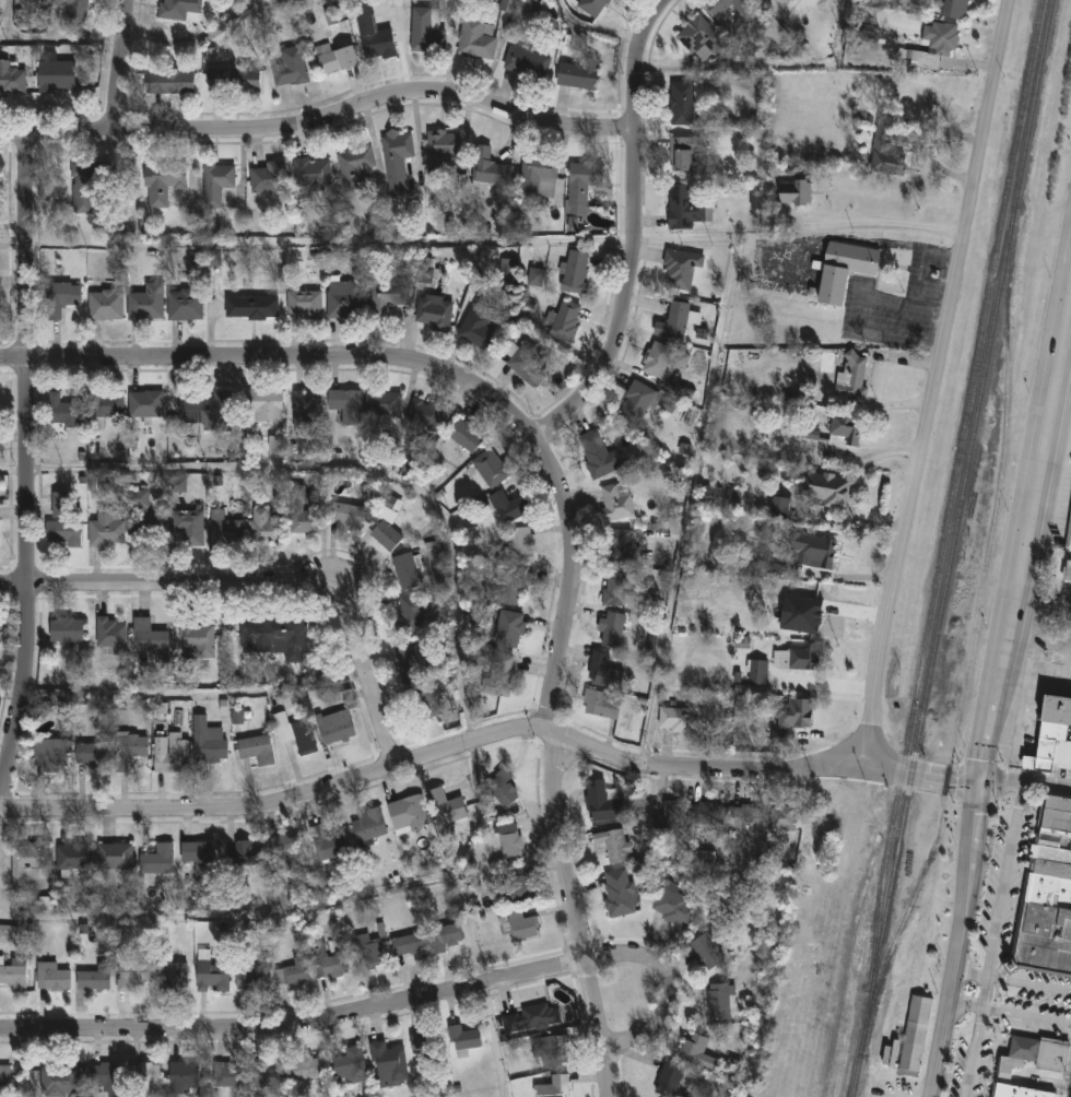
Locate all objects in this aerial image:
building: (929, 4)
building: (533, 5)
building: (590, 5)
building: (507, 7)
building: (72, 10)
building: (954, 10)
building: (179, 11)
building: (745, 13)
road: (8, 20)
building: (425, 32)
road: (204, 38)
road: (62, 39)
building: (373, 39)
building: (475, 39)
building: (698, 39)
building: (938, 44)
building: (333, 59)
building: (525, 61)
road: (121, 63)
building: (289, 67)
building: (54, 72)
building: (579, 73)
building: (232, 76)
building: (11, 78)
building: (166, 79)
building: (685, 103)
road: (321, 117)
building: (885, 146)
building: (440, 150)
building: (682, 152)
building: (396, 160)
building: (353, 164)
building: (487, 169)
building: (309, 173)
building: (267, 176)
building: (537, 176)
building: (163, 181)
building: (215, 182)
building: (581, 185)
building: (795, 191)
building: (755, 198)
building: (82, 199)
building: (683, 207)
building: (572, 224)
road: (886, 227)
road: (633, 232)
road: (578, 241)
road: (79, 246)
building: (205, 258)
building: (681, 266)
building: (844, 269)
building: (507, 271)
building: (573, 271)
building: (428, 274)
building: (535, 278)
building: (385, 295)
building: (60, 297)
building: (341, 298)
building: (145, 302)
building: (104, 304)
building: (185, 304)
building: (304, 304)
building: (250, 306)
building: (434, 314)
building: (671, 318)
building: (564, 320)
building: (476, 325)
road: (276, 356)
building: (662, 358)
building: (525, 362)
building: (851, 376)
road: (930, 381)
building: (638, 400)
building: (380, 402)
building: (144, 403)
road: (1059, 403)
building: (104, 404)
building: (345, 404)
building: (264, 406)
building: (62, 410)
building: (208, 411)
building: (305, 412)
building: (425, 414)
building: (845, 426)
building: (812, 434)
building: (464, 435)
building: (598, 456)
building: (415, 460)
building: (490, 468)
road: (28, 471)
railway: (954, 475)
building: (177, 484)
building: (825, 488)
building: (720, 497)
building: (614, 503)
building: (60, 505)
building: (508, 506)
building: (778, 507)
building: (301, 512)
building: (139, 515)
building: (345, 515)
building: (386, 519)
building: (188, 526)
building: (105, 528)
building: (262, 528)
building: (222, 529)
building: (63, 532)
building: (1069, 535)
building: (517, 544)
building: (617, 545)
railway: (951, 547)
building: (815, 550)
building: (779, 565)
building: (405, 570)
building: (1068, 571)
building: (504, 587)
road: (263, 588)
building: (614, 588)
building: (810, 598)
road: (1041, 601)
building: (408, 614)
building: (508, 629)
building: (611, 629)
building: (67, 630)
building: (108, 635)
building: (148, 636)
building: (275, 636)
building: (193, 639)
building: (651, 644)
railway: (970, 647)
building: (798, 659)
building: (405, 661)
building: (603, 671)
building: (757, 671)
building: (498, 675)
road: (1035, 676)
road: (996, 686)
building: (748, 689)
building: (424, 699)
building: (601, 704)
building: (793, 713)
building: (237, 716)
building: (682, 718)
building: (334, 727)
building: (295, 733)
building: (1052, 736)
building: (779, 738)
building: (208, 744)
building: (130, 747)
building: (257, 750)
building: (172, 754)
building: (51, 755)
building: (93, 755)
road: (436, 760)
road: (550, 762)
road: (968, 777)
traffic signals: (978, 778)
building: (502, 788)
building: (601, 805)
building: (444, 811)
building: (407, 814)
building: (706, 815)
building: (669, 817)
building: (746, 817)
building: (782, 818)
building: (368, 826)
building: (509, 839)
building: (614, 845)
building: (332, 848)
building: (291, 851)
building: (246, 853)
building: (73, 857)
building: (114, 857)
building: (199, 857)
building: (704, 858)
building: (157, 860)
building: (27, 863)
building: (728, 880)
road: (1004, 880)
building: (763, 885)
building: (516, 887)
building: (617, 894)
building: (1047, 899)
building: (674, 905)
building: (522, 925)
building: (9, 934)
building: (444, 937)
building: (705, 945)
building: (410, 946)
building: (366, 952)
building: (328, 963)
building: (172, 971)
building: (293, 972)
road: (972, 972)
building: (14, 974)
building: (131, 974)
building: (52, 977)
building: (211, 977)
building: (251, 977)
building: (94, 978)
road: (1029, 983)
road: (672, 986)
road: (985, 992)
building: (718, 1000)
road: (1010, 1014)
building: (531, 1017)
road: (296, 1028)
building: (916, 1036)
building: (463, 1039)
building: (427, 1046)
building: (696, 1051)
building: (550, 1052)
road: (974, 1053)
building: (1040, 1053)
building: (389, 1064)
building: (353, 1065)
building: (310, 1070)
building: (144, 1074)
building: (227, 1075)
building: (4, 1076)
building: (104, 1076)
building: (183, 1076)
building: (267, 1076)
building: (668, 1081)
building: (60, 1082)
building: (554, 1087)
building: (1013, 1090)

